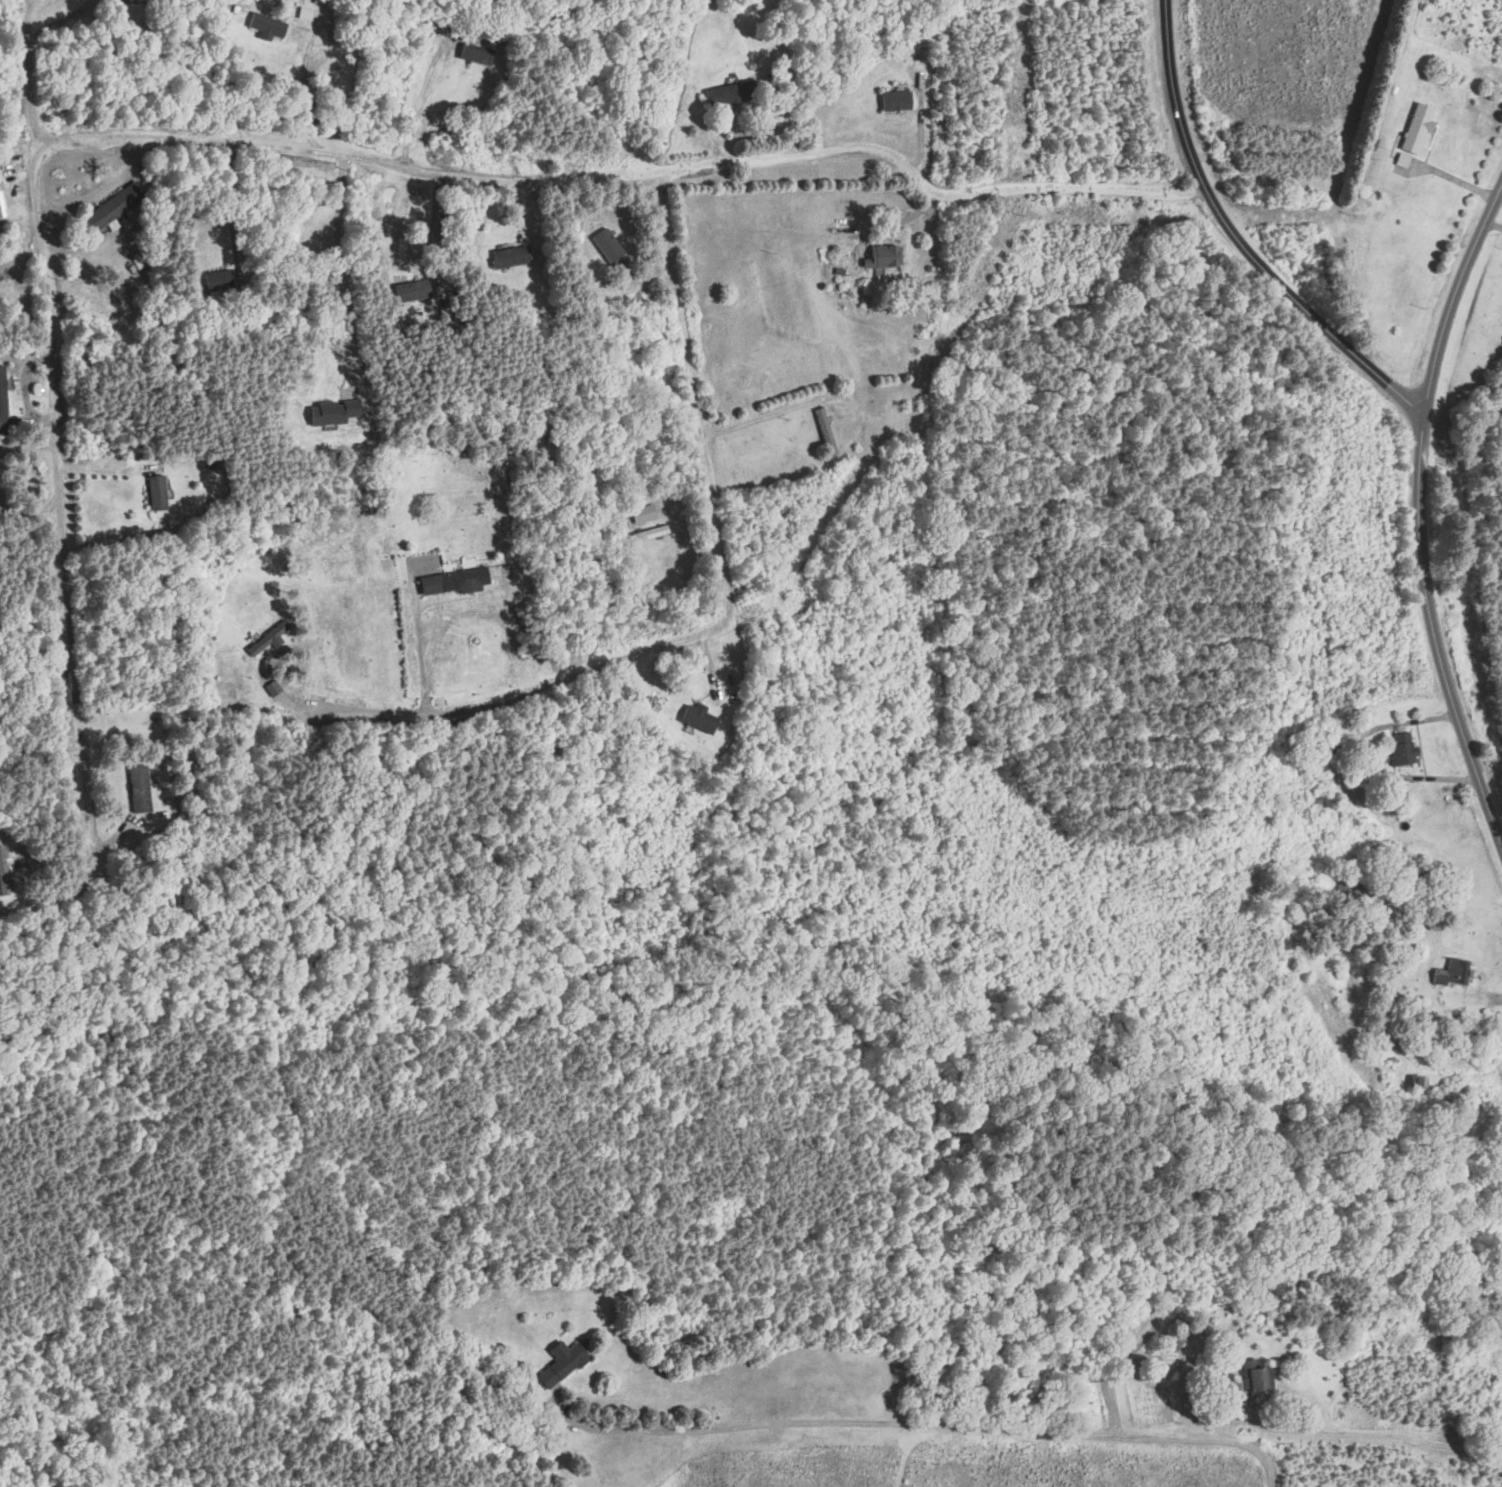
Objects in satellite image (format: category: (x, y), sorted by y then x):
road: (61, 20)
building: (270, 25)
road: (308, 48)
building: (478, 54)
road: (423, 95)
building: (732, 95)
building: (897, 101)
road: (754, 117)
building: (1419, 128)
road: (629, 171)
road: (1501, 182)
road: (1501, 183)
building: (2, 203)
road: (231, 204)
building: (117, 206)
road: (435, 220)
road: (899, 220)
road: (1237, 240)
building: (610, 245)
building: (884, 255)
building: (513, 256)
road: (342, 270)
building: (220, 279)
building: (412, 291)
building: (3, 391)
road: (57, 425)
building: (826, 431)
building: (160, 492)
road: (1418, 513)
building: (643, 514)
building: (648, 534)
building: (457, 581)
road: (725, 606)
building: (269, 638)
road: (422, 650)
building: (700, 718)
building: (1406, 748)
building: (141, 789)
building: (4, 872)
building: (1455, 973)
building: (1420, 1082)
building: (1173, 1343)
building: (565, 1363)
building: (510, 1367)
building: (1257, 1378)
road: (916, 1425)
road: (1385, 1438)

